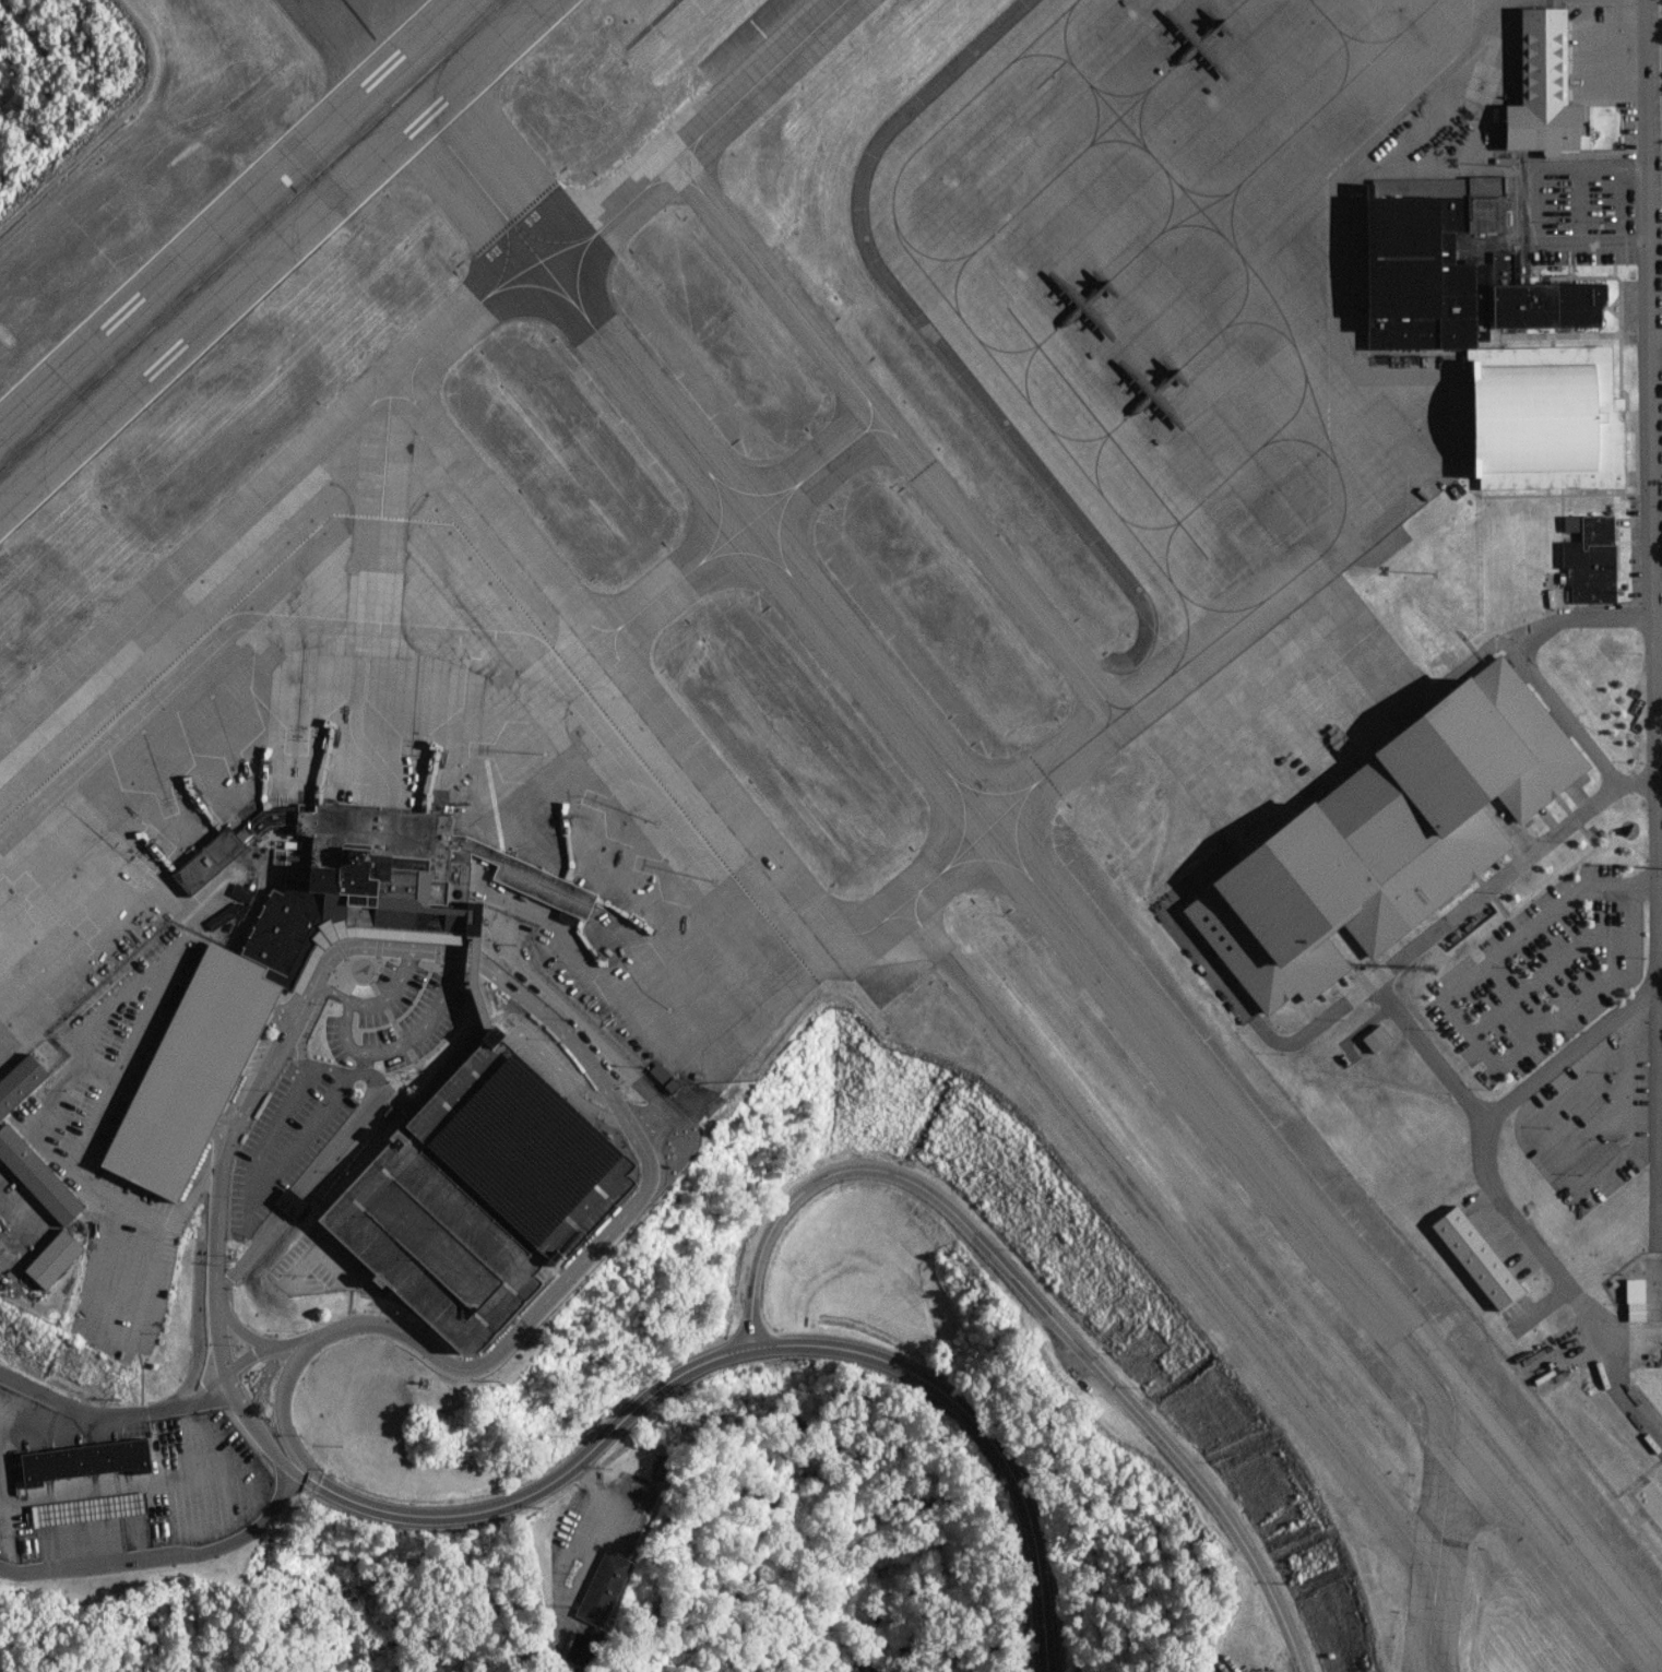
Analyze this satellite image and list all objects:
airport taxiway: (609, 79)
airport taxiway: (759, 80)
building: (1540, 91)
airport taxiway: (436, 131)
road: (1535, 205)
road: (1580, 205)
road: (1619, 205)
airport taxiway: (607, 213)
airport runway: (253, 234)
airport hangar: (1398, 258)
building: (1398, 258)
building: (1475, 274)
airport taxiway: (325, 307)
airport apron: (1211, 330)
airport hangar: (1530, 418)
building: (1530, 418)
airport taxiway: (340, 431)
building: (1607, 436)
airport taxiway: (895, 438)
road: (1649, 441)
airport taxiway: (387, 451)
road: (1655, 470)
airport taxiway: (816, 472)
airport taxiway: (497, 511)
airport taxiway: (764, 542)
airport taxiway: (97, 554)
building: (1587, 557)
airport taxiway: (657, 595)
road: (1517, 657)
airport taxiway: (74, 679)
airport taxiway: (1085, 745)
airport: (834, 788)
airport taxiway: (721, 790)
airport apron: (390, 804)
building: (1384, 837)
airport terminal: (371, 879)
building: (371, 879)
airport taxiway: (921, 886)
building: (567, 917)
road: (1434, 927)
parking lot: (1543, 971)
road: (1546, 972)
road: (131, 986)
road: (473, 988)
road: (375, 1001)
road: (1243, 1009)
road: (283, 1016)
parking lot: (393, 1017)
road: (1471, 1034)
building: (1375, 1037)
road: (402, 1041)
road: (609, 1052)
road: (100, 1069)
building: (194, 1072)
parking lot: (194, 1072)
road: (563, 1076)
building: (663, 1077)
building: (20, 1083)
road: (256, 1091)
airport taxiway: (1220, 1116)
road: (1487, 1123)
road: (224, 1133)
parking lot: (287, 1137)
parking lot: (69, 1142)
road: (311, 1174)
building: (38, 1176)
road: (251, 1200)
building: (406, 1201)
parking lot: (406, 1201)
building: (289, 1202)
road: (609, 1231)
road: (307, 1256)
building: (1475, 1257)
building: (56, 1259)
road: (333, 1265)
parking lot: (319, 1266)
airport taxiway: (1200, 1277)
road: (1033, 1300)
building: (1635, 1300)
road: (241, 1331)
road: (128, 1343)
road: (264, 1349)
road: (752, 1349)
road: (281, 1399)
road: (112, 1413)
road: (253, 1432)
building: (87, 1462)
airport taxiway: (1447, 1487)
building: (88, 1510)
airport taxiway: (1558, 1531)
road: (167, 1557)
building: (603, 1588)
building: (581, 1651)

